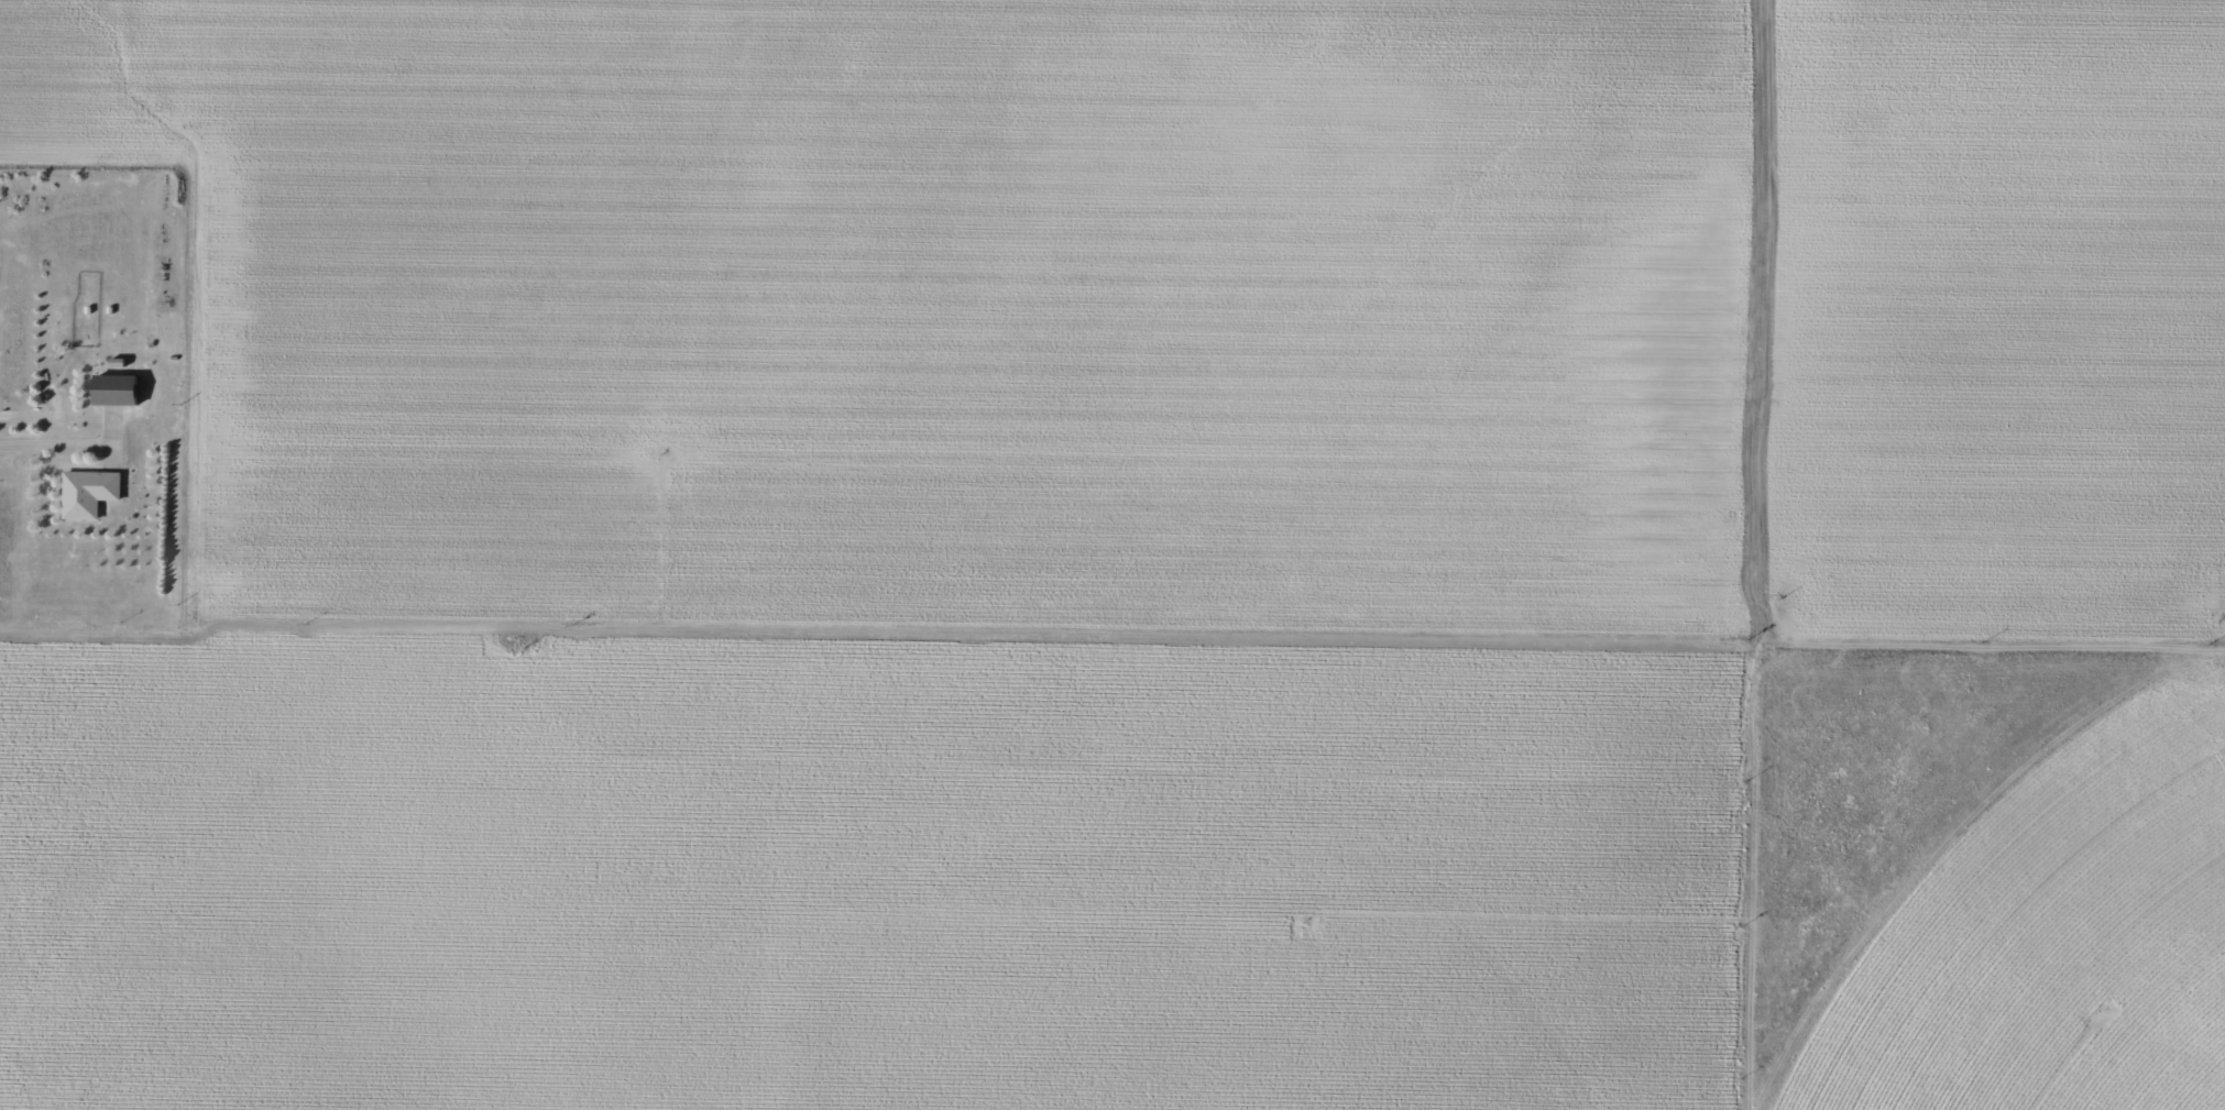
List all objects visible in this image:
building: (113, 389)
road: (43, 452)
building: (87, 493)
road: (1771, 554)
road: (1112, 623)

